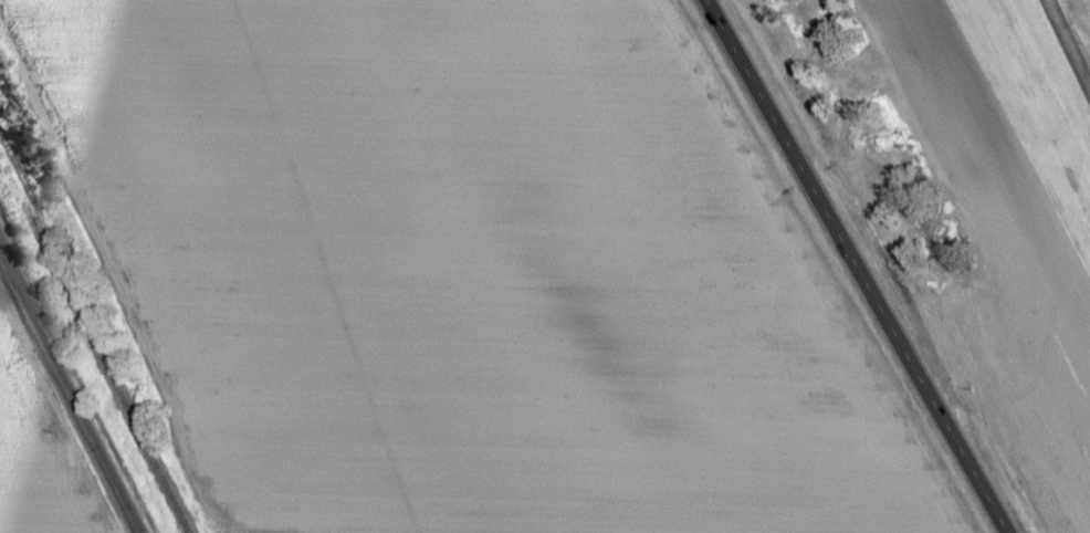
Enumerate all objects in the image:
airport runway: (1069, 42)
road: (856, 266)
railway: (94, 341)
road: (66, 396)

